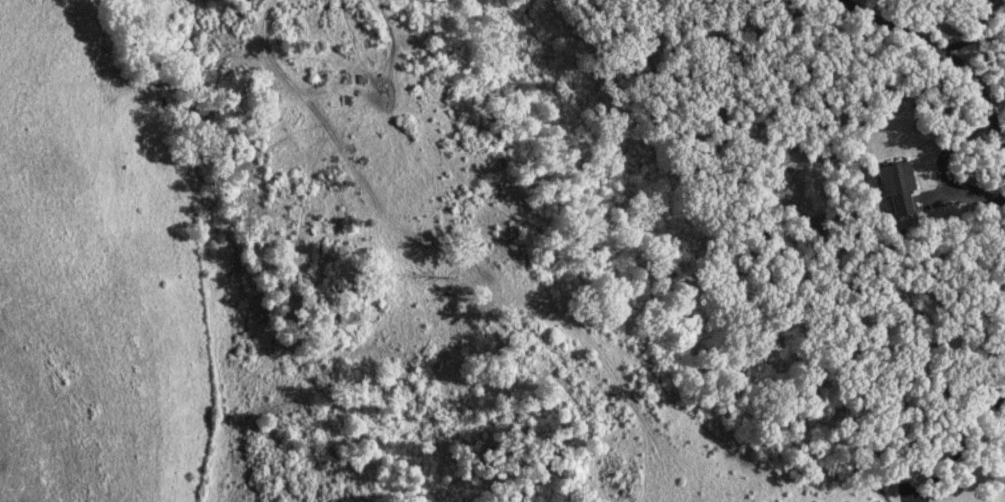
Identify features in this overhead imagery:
road: (952, 58)
building: (896, 178)

